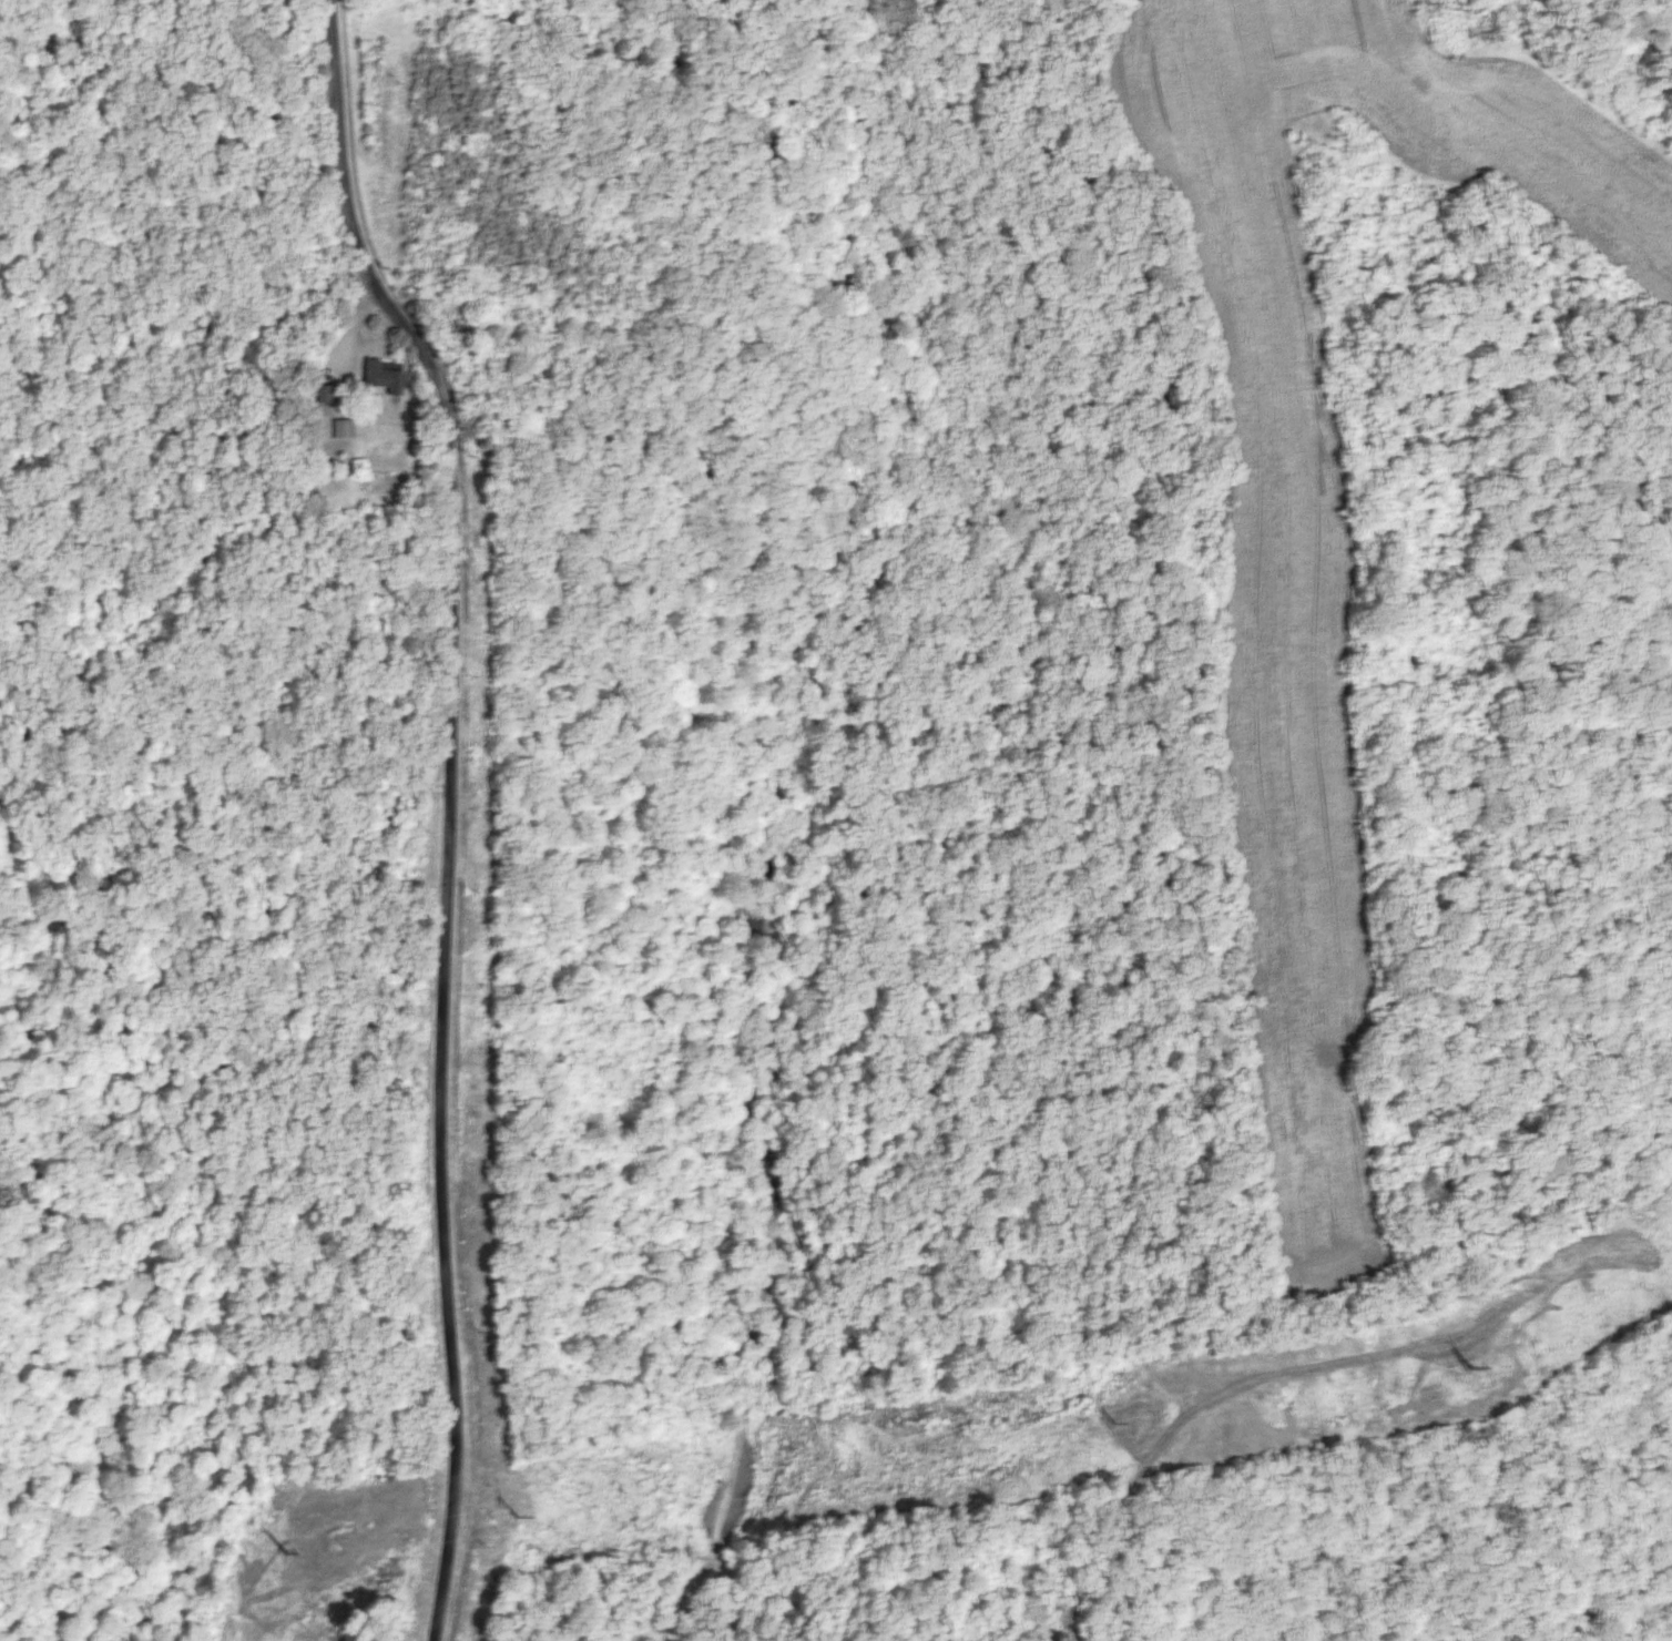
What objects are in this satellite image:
building: (461, 320)
building: (385, 376)
building: (324, 394)
building: (344, 427)
road: (444, 809)
power tower: (1474, 1368)
power tower: (1111, 1424)
power tower: (519, 1515)
power tower: (283, 1552)

